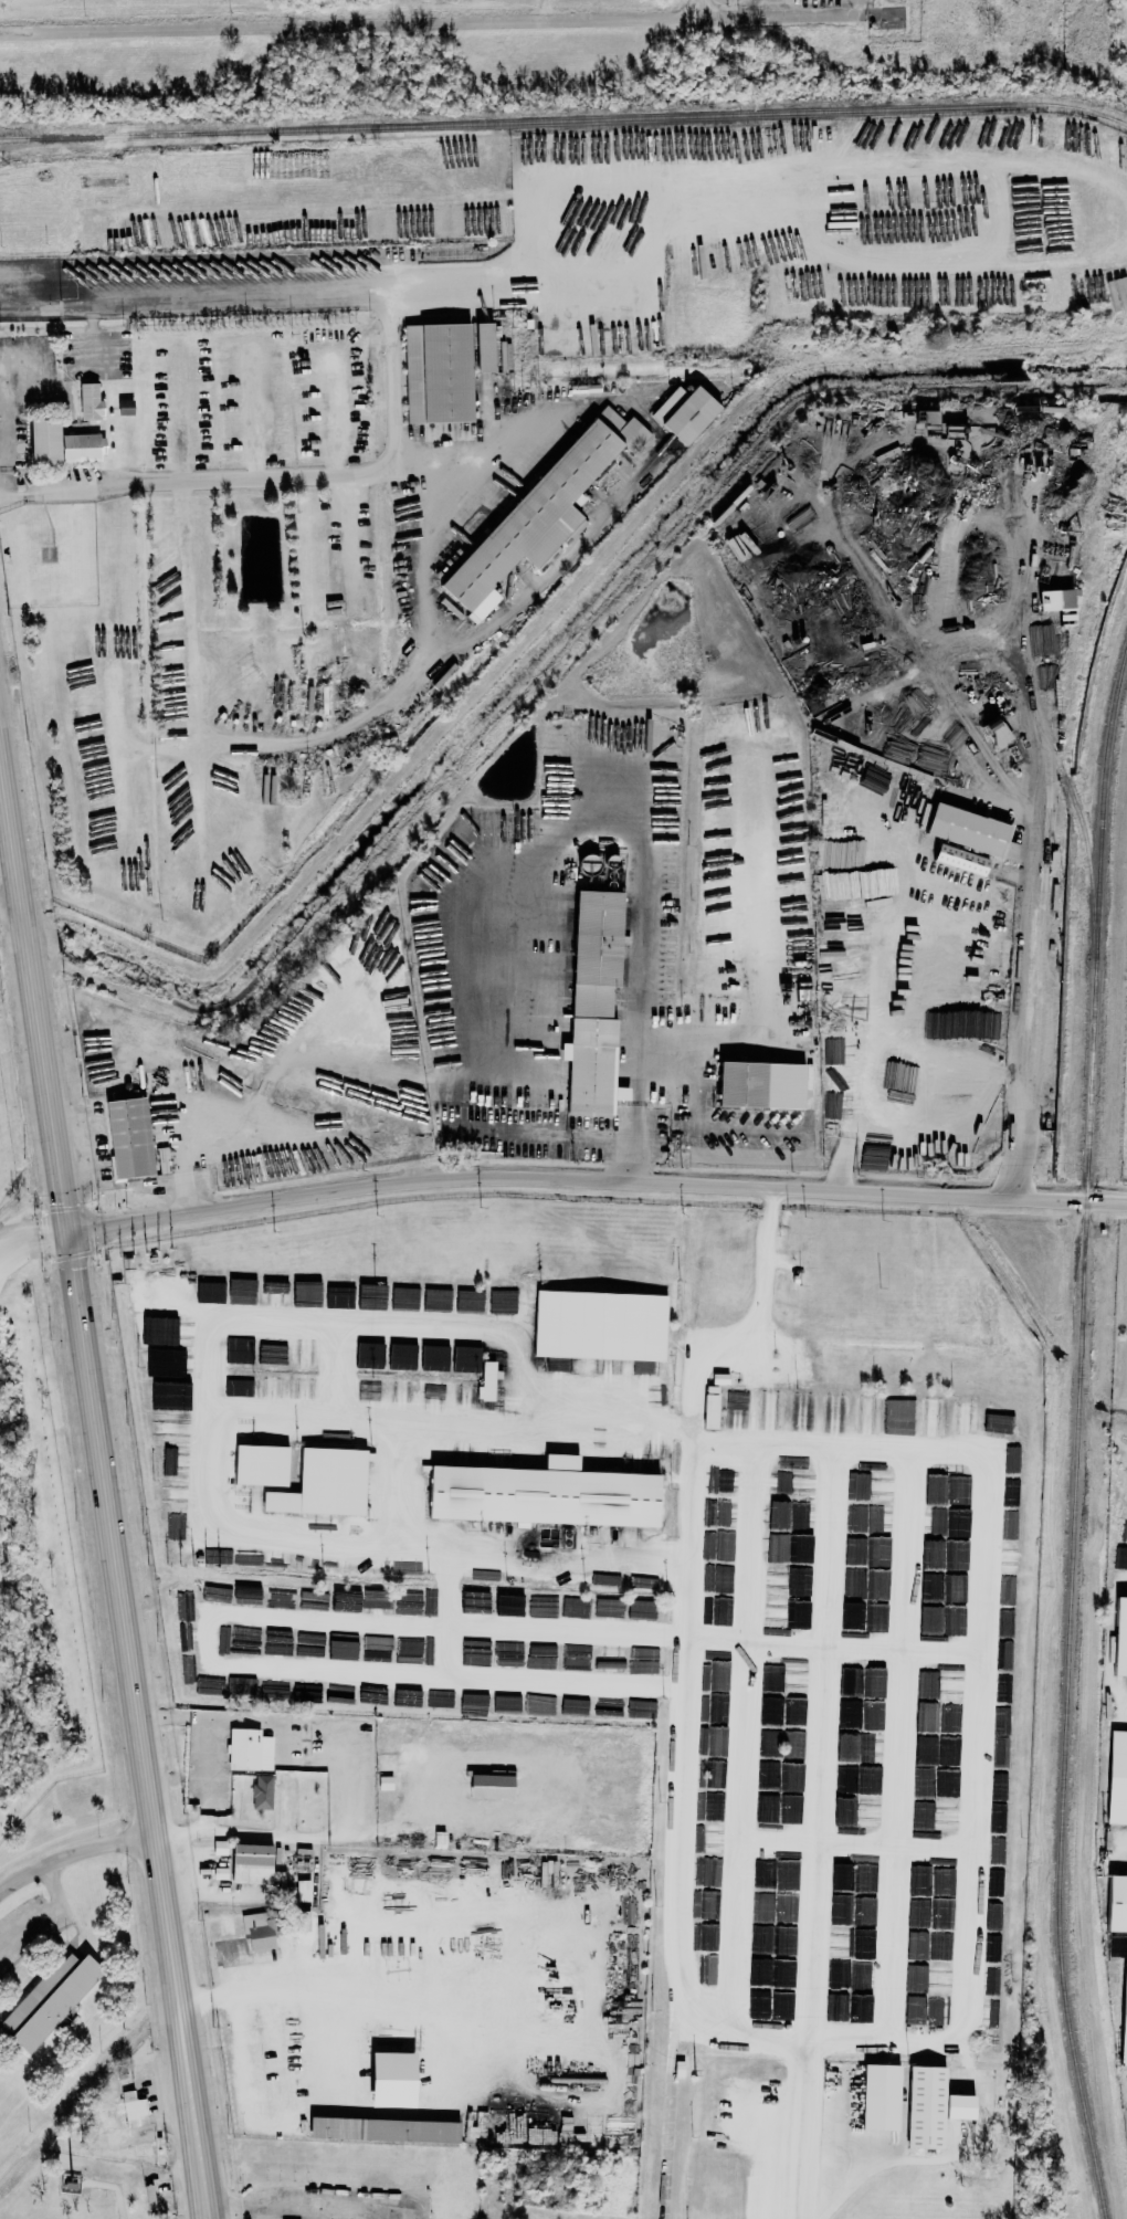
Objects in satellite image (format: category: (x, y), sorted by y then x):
road: (792, 20)
road: (354, 29)
railway: (565, 120)
building: (482, 347)
building: (439, 372)
road: (393, 387)
building: (92, 400)
road: (4, 408)
building: (123, 408)
building: (691, 416)
building: (45, 442)
building: (83, 446)
road: (790, 455)
building: (538, 511)
road: (343, 522)
road: (428, 550)
railway: (1007, 590)
building: (1054, 600)
road: (110, 619)
road: (417, 669)
railway: (1001, 676)
road: (981, 696)
road: (190, 708)
building: (996, 733)
road: (976, 780)
road: (120, 829)
building: (969, 829)
building: (959, 860)
road: (1041, 929)
railway: (1097, 992)
road: (644, 1008)
building: (593, 1068)
road: (459, 1072)
building: (744, 1084)
building: (123, 1095)
road: (1025, 1107)
road: (970, 1122)
building: (131, 1136)
road: (599, 1181)
road: (31, 1200)
building: (306, 1302)
road: (361, 1324)
building: (602, 1325)
building: (485, 1381)
road: (206, 1464)
building: (259, 1464)
building: (323, 1483)
road: (110, 1484)
building: (541, 1494)
building: (1119, 1555)
road: (689, 1585)
road: (335, 1617)
building: (1119, 1637)
road: (980, 1682)
road: (272, 1720)
road: (742, 1735)
road: (894, 1747)
building: (251, 1748)
road: (817, 1748)
railway: (1063, 1773)
road: (210, 1774)
building: (1117, 1778)
building: (383, 1782)
building: (489, 1786)
building: (265, 1792)
road: (201, 1831)
road: (855, 1842)
building: (302, 1891)
building: (1118, 1903)
road: (50, 1911)
building: (224, 1923)
building: (256, 1932)
building: (50, 2000)
building: (1123, 2018)
road: (803, 2070)
building: (388, 2079)
building: (882, 2095)
building: (927, 2105)
building: (960, 2106)
building: (118, 2112)
road: (672, 2114)
road: (314, 2209)
road: (274, 2213)
road: (212, 2218)

